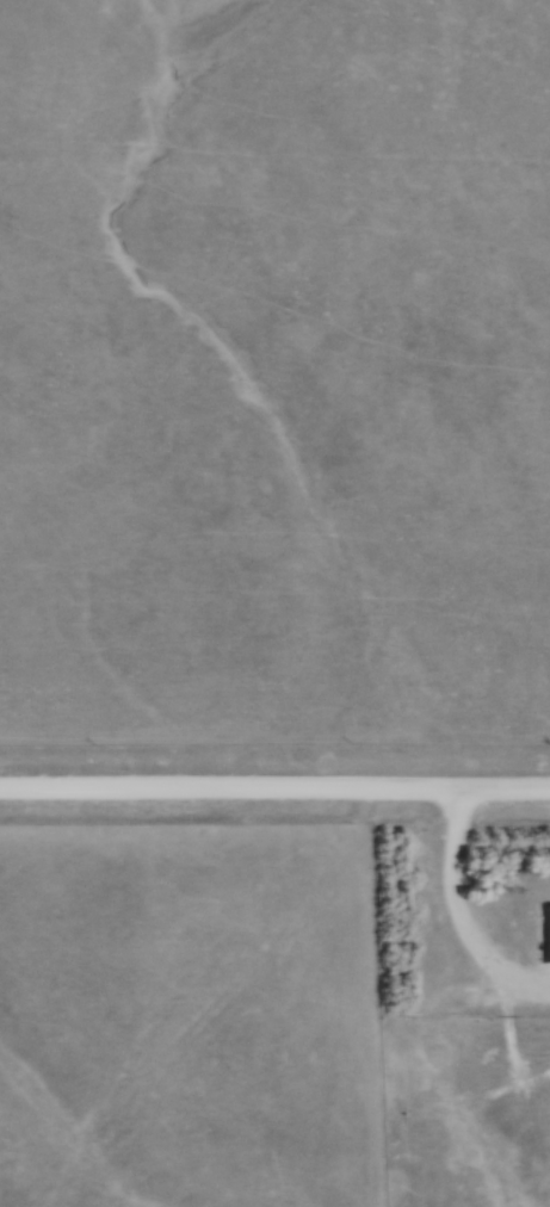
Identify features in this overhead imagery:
road: (274, 788)
road: (455, 911)
building: (544, 933)

